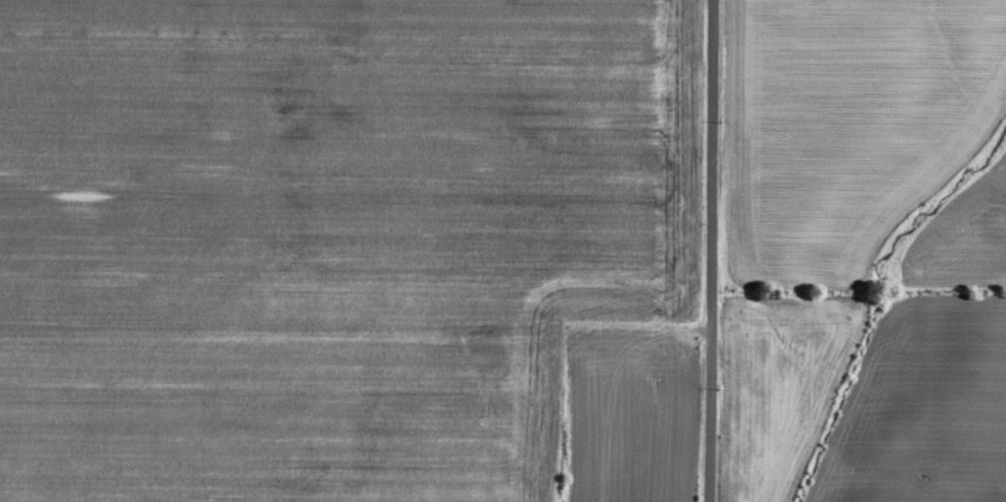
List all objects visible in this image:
road: (709, 251)

